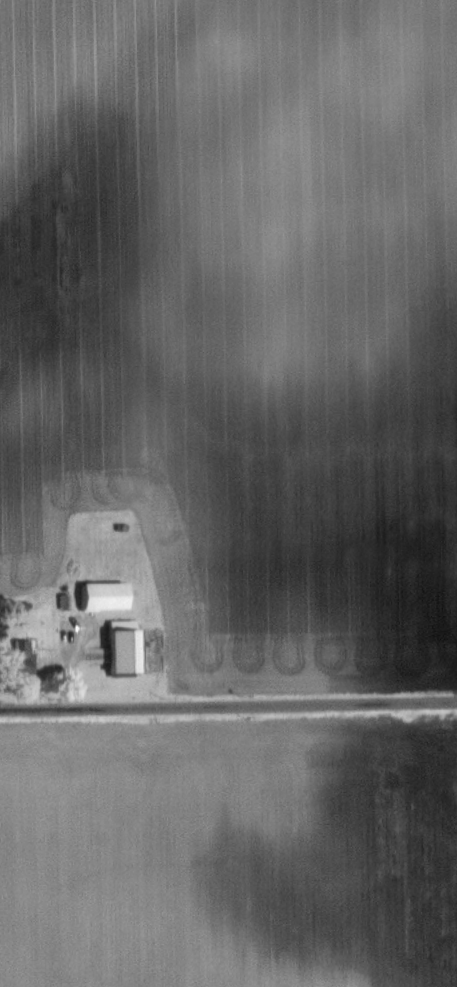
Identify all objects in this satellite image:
building: (104, 593)
building: (122, 644)
building: (22, 657)
road: (228, 703)

